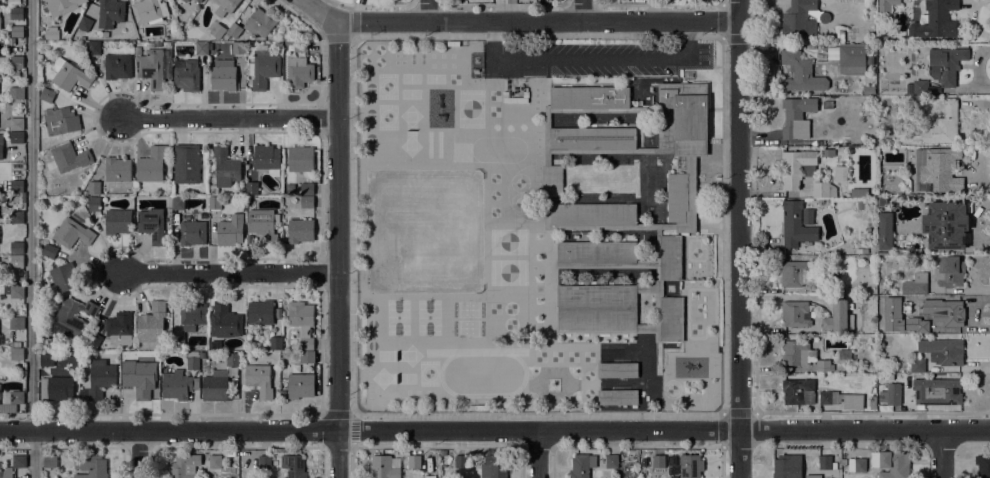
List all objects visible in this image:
building: (185, 1)
building: (197, 1)
building: (886, 5)
building: (62, 6)
building: (224, 6)
building: (148, 11)
road: (316, 11)
road: (428, 11)
road: (582, 11)
building: (0, 12)
building: (16, 13)
building: (110, 13)
building: (801, 19)
building: (935, 20)
building: (260, 22)
building: (85, 23)
road: (534, 23)
building: (217, 30)
building: (16, 31)
building: (233, 31)
building: (51, 33)
building: (843, 36)
building: (881, 39)
building: (92, 47)
building: (238, 47)
building: (300, 47)
building: (201, 48)
building: (137, 51)
building: (851, 56)
parking lot: (601, 59)
building: (870, 59)
building: (16, 62)
building: (945, 64)
building: (117, 66)
building: (263, 67)
building: (151, 68)
building: (299, 72)
building: (800, 72)
building: (69, 75)
building: (186, 75)
building: (223, 77)
building: (503, 82)
building: (919, 87)
building: (16, 93)
building: (46, 95)
building: (589, 97)
road: (715, 108)
road: (230, 117)
building: (796, 117)
building: (60, 120)
building: (16, 124)
building: (940, 125)
road: (546, 130)
building: (16, 137)
building: (681, 137)
building: (547, 138)
building: (592, 138)
building: (1, 146)
building: (827, 152)
building: (68, 158)
building: (266, 158)
building: (300, 158)
building: (186, 163)
building: (151, 164)
building: (225, 167)
building: (796, 167)
building: (117, 169)
building: (936, 170)
building: (840, 174)
building: (552, 180)
building: (16, 186)
building: (94, 188)
building: (252, 188)
building: (306, 189)
building: (823, 189)
building: (241, 191)
building: (872, 191)
building: (858, 192)
building: (177, 202)
building: (306, 202)
building: (215, 203)
building: (93, 204)
building: (861, 204)
building: (593, 214)
building: (807, 216)
building: (16, 217)
building: (117, 221)
building: (152, 225)
building: (263, 225)
building: (795, 225)
building: (945, 225)
road: (626, 227)
building: (230, 230)
building: (300, 230)
building: (884, 230)
park: (423, 231)
building: (192, 232)
building: (72, 233)
road: (737, 238)
road: (31, 239)
building: (658, 247)
building: (16, 248)
road: (336, 250)
building: (49, 251)
building: (861, 251)
building: (595, 252)
building: (670, 257)
building: (16, 261)
building: (949, 271)
building: (798, 272)
road: (229, 273)
building: (64, 277)
building: (915, 283)
building: (823, 287)
building: (5, 288)
building: (16, 292)
building: (596, 308)
building: (260, 312)
building: (950, 313)
building: (191, 314)
building: (795, 314)
building: (836, 316)
building: (72, 318)
building: (671, 319)
building: (152, 321)
building: (224, 321)
building: (302, 322)
building: (16, 323)
building: (916, 324)
building: (119, 328)
building: (93, 340)
building: (178, 343)
building: (276, 343)
building: (15, 344)
building: (943, 350)
building: (797, 352)
building: (16, 354)
building: (306, 357)
building: (232, 359)
building: (46, 360)
building: (193, 360)
building: (822, 365)
building: (917, 365)
building: (617, 370)
building: (100, 378)
building: (136, 379)
building: (259, 379)
building: (178, 385)
building: (300, 385)
building: (215, 386)
building: (56, 388)
building: (798, 391)
building: (937, 391)
building: (890, 394)
building: (13, 397)
building: (617, 397)
building: (841, 399)
building: (872, 402)
road: (722, 414)
road: (15, 415)
road: (352, 430)
road: (494, 430)
road: (16, 448)
building: (442, 452)
building: (632, 452)
road: (941, 453)
road: (137, 454)
road: (537, 454)
building: (611, 460)
building: (19, 461)
building: (50, 461)
building: (215, 461)
building: (461, 461)
building: (658, 461)
building: (843, 461)
building: (264, 462)
building: (826, 462)
building: (418, 463)
building: (891, 463)
building: (582, 465)
building: (856, 465)
building: (983, 465)
building: (90, 466)
building: (184, 466)
building: (293, 466)
building: (690, 466)
building: (787, 466)
building: (385, 467)
building: (494, 467)
building: (1, 469)
building: (674, 476)
building: (813, 476)

